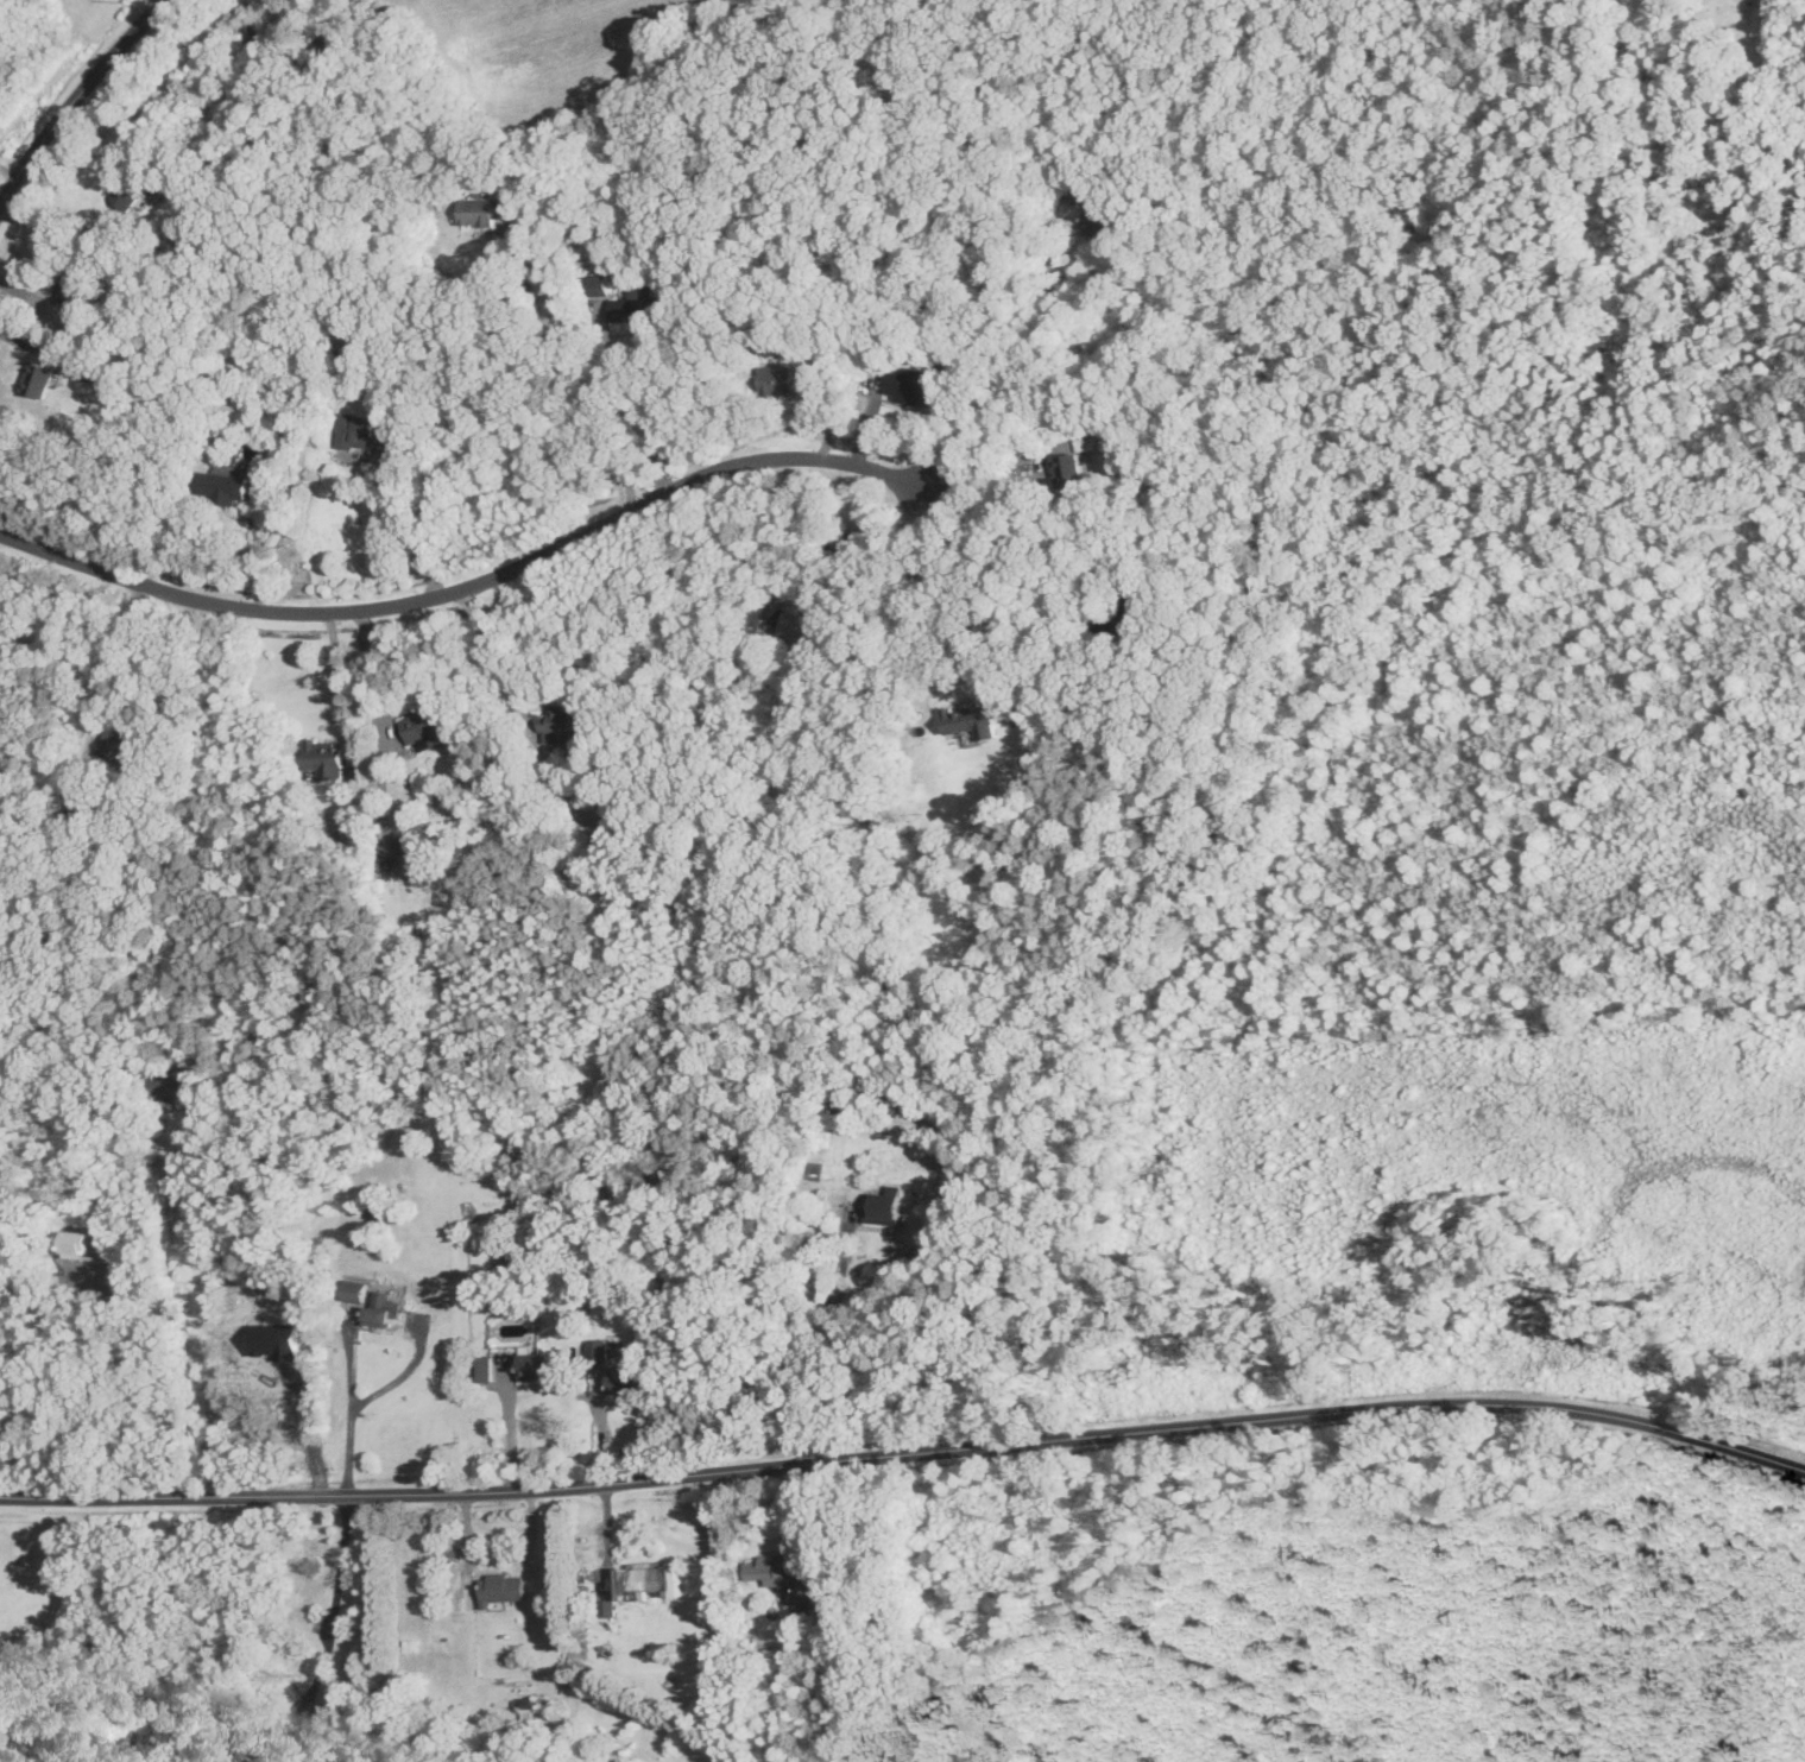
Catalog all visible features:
road: (135, 31)
building: (251, 33)
road: (49, 131)
building: (127, 189)
building: (1073, 190)
building: (480, 210)
building: (1096, 222)
building: (598, 284)
building: (71, 286)
building: (636, 305)
road: (1012, 377)
building: (36, 379)
road: (587, 379)
building: (775, 379)
building: (908, 386)
road: (637, 409)
building: (355, 431)
road: (1020, 457)
building: (1066, 469)
building: (221, 487)
road: (414, 523)
road: (1049, 542)
building: (840, 547)
road: (259, 552)
road: (809, 574)
road: (471, 586)
building: (0, 588)
road: (948, 599)
building: (1122, 614)
building: (801, 625)
road: (116, 653)
road: (343, 689)
road: (519, 701)
road: (377, 709)
building: (968, 721)
building: (563, 724)
building: (424, 727)
building: (120, 747)
building: (324, 759)
building: (169, 1087)
building: (881, 1208)
building: (72, 1244)
road: (208, 1309)
building: (379, 1309)
road: (833, 1346)
building: (597, 1351)
building: (531, 1368)
building: (480, 1370)
road: (84, 1376)
building: (624, 1381)
road: (348, 1410)
road: (509, 1432)
road: (907, 1453)
road: (793, 1523)
road: (607, 1540)
road: (497, 1559)
building: (761, 1571)
building: (648, 1579)
building: (500, 1589)
road: (327, 1636)

